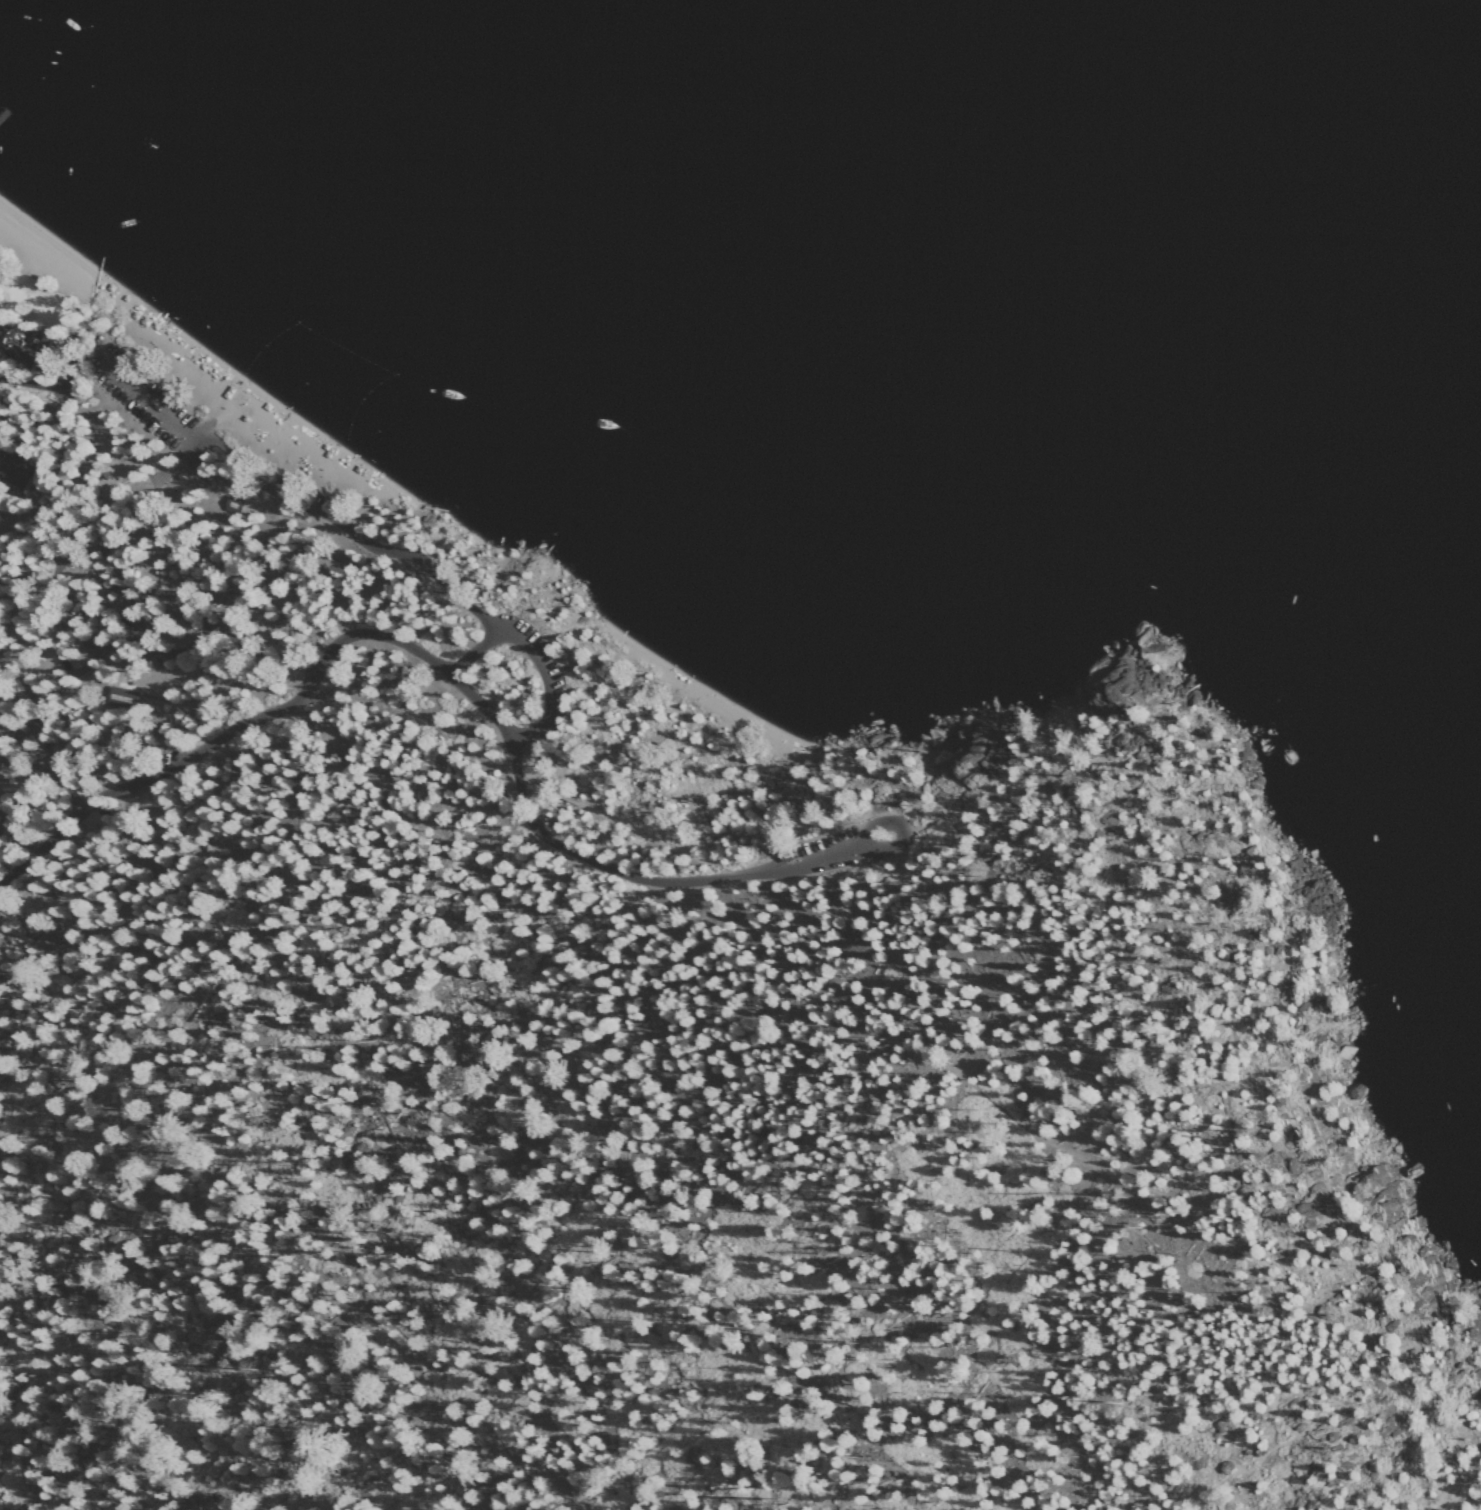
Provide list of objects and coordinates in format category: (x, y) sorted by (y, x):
pier: (5, 113)
parking lot: (147, 401)
road: (158, 452)
road: (7, 472)
building: (236, 504)
road: (321, 514)
road: (79, 554)
road: (117, 644)
road: (403, 646)
road: (536, 671)
parking lot: (534, 679)
building: (125, 697)
road: (601, 697)
road: (769, 753)
road: (863, 788)
road: (624, 818)
road: (895, 833)
parking lot: (840, 846)
road: (813, 855)
road: (1259, 1012)
road: (818, 1043)
road: (1334, 1399)
road: (1096, 1416)
road: (1461, 1491)

